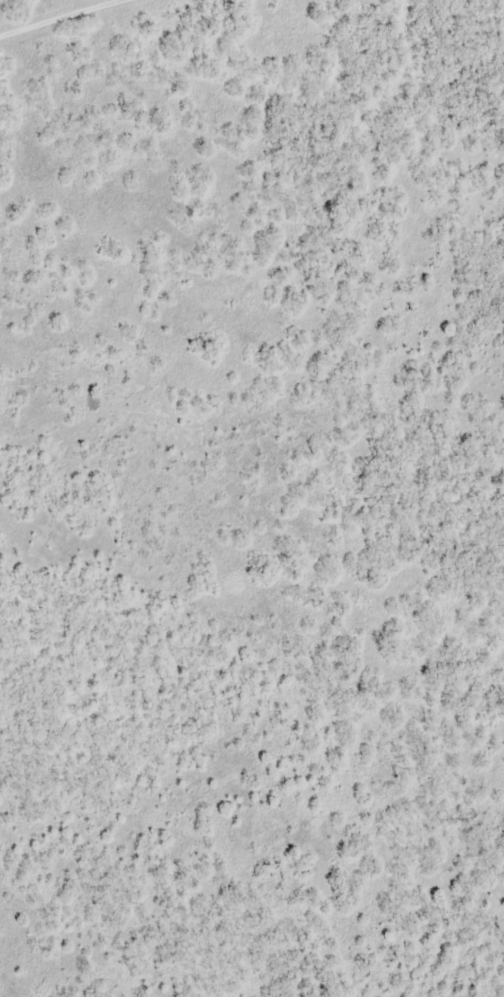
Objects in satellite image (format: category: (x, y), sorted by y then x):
road: (66, 20)

